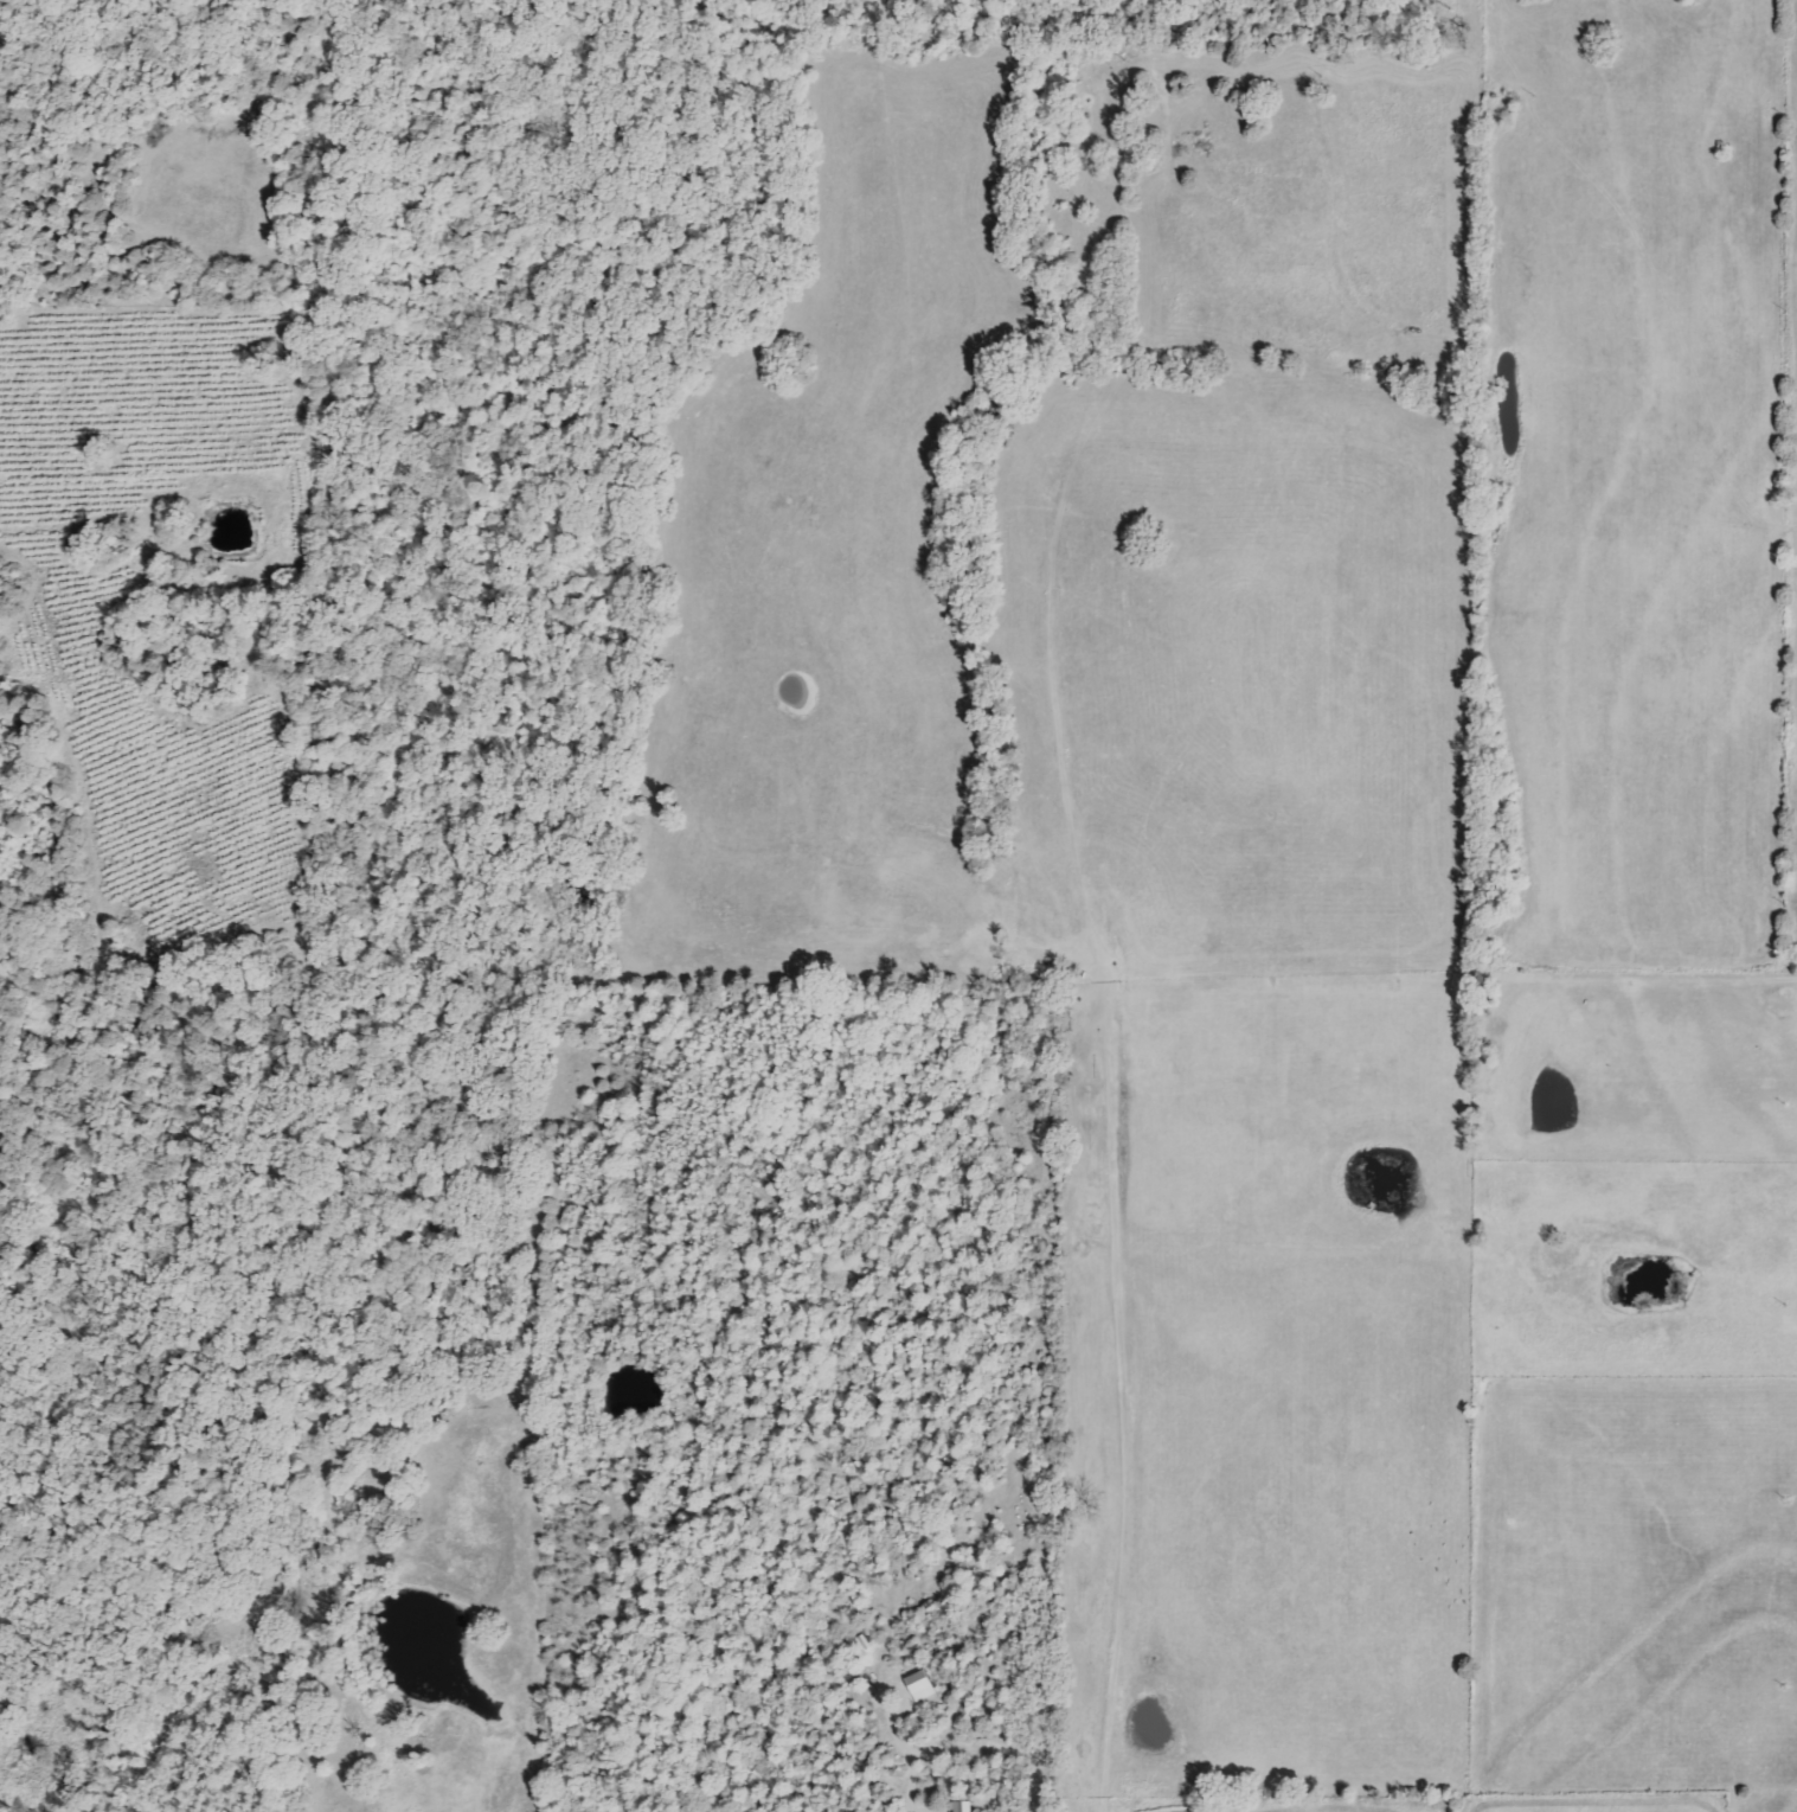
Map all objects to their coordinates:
building: (918, 1685)
building: (958, 1806)

